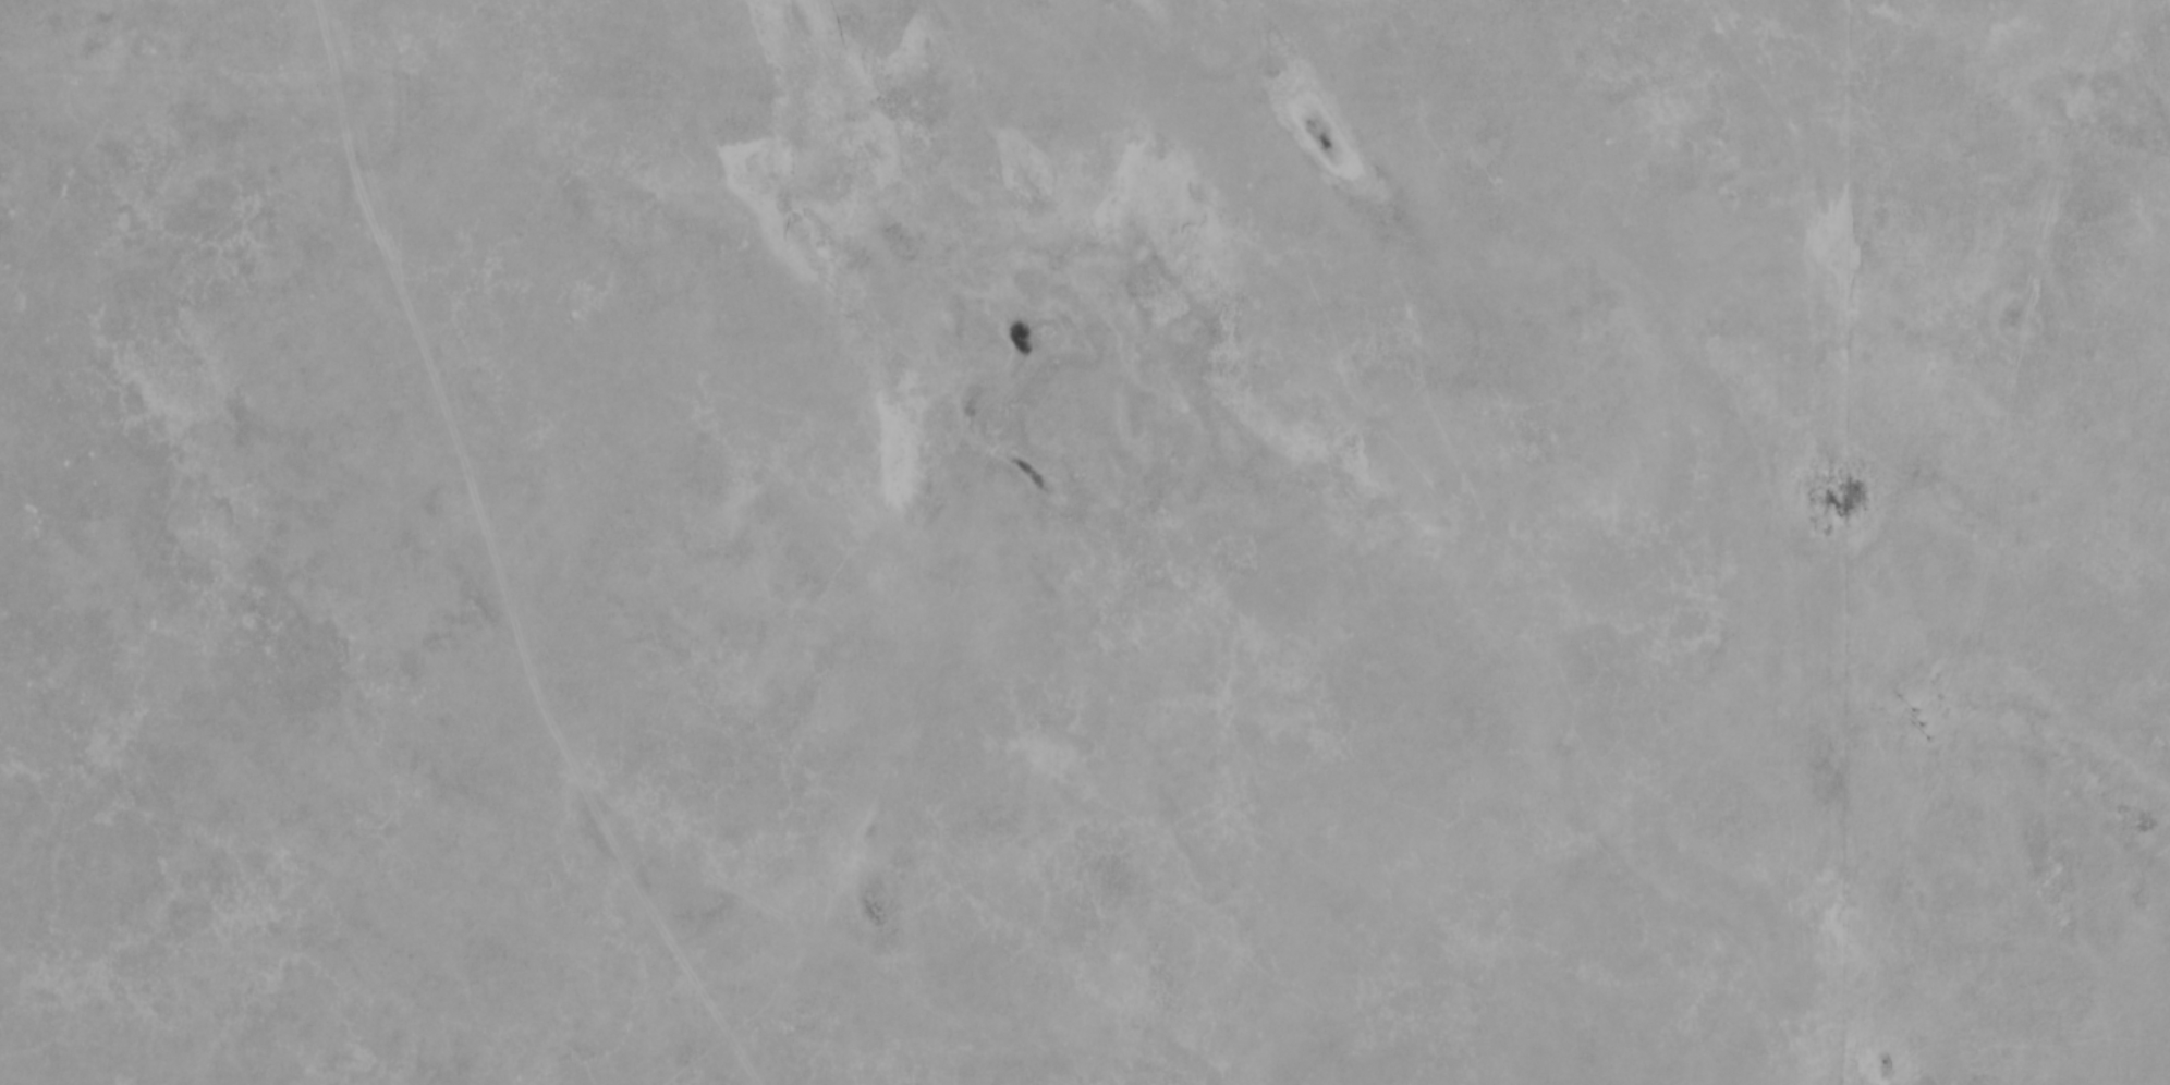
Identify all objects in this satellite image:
power tower: (1921, 724)

